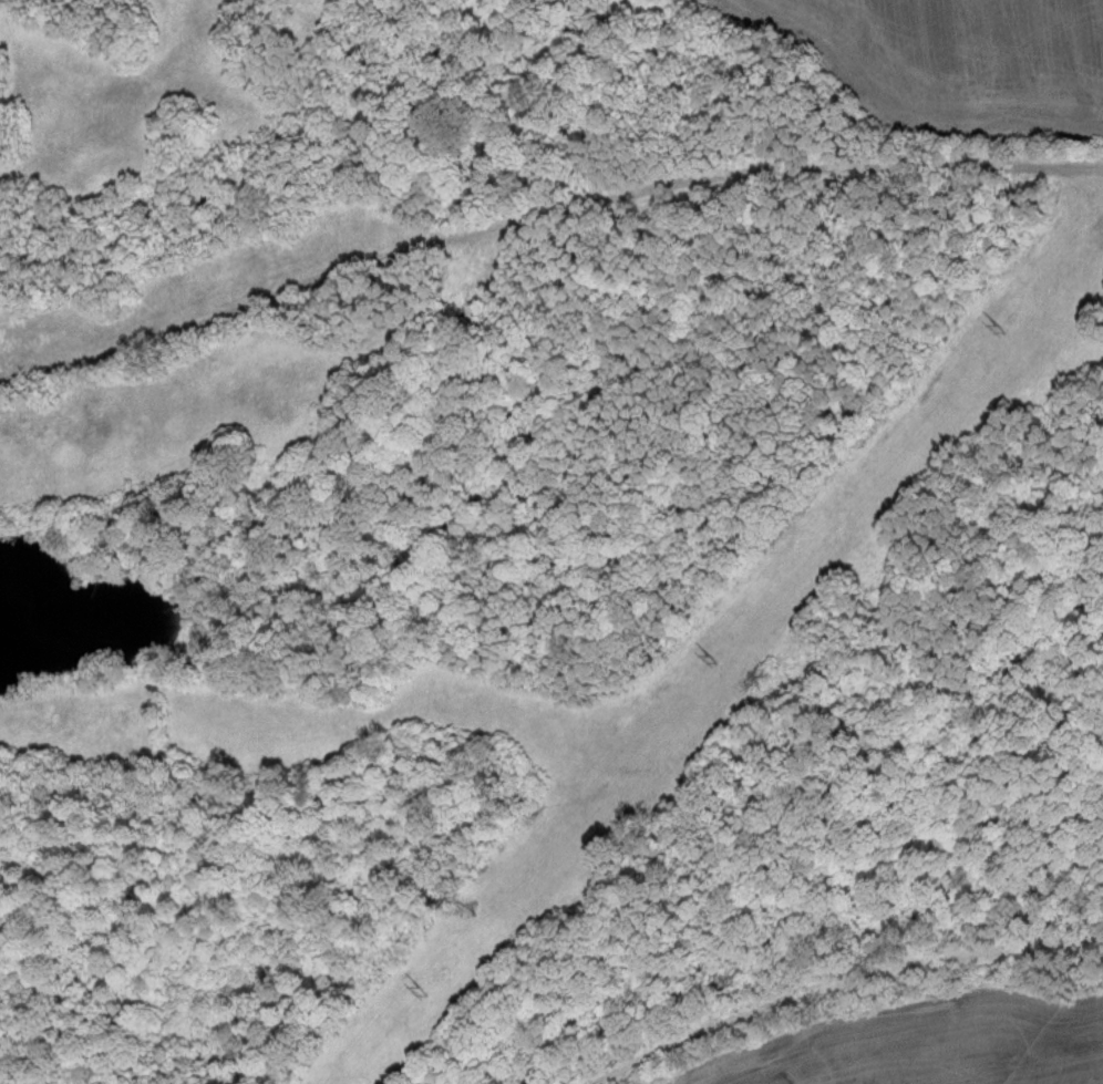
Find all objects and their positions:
road: (539, 209)
power tower: (999, 327)
power tower: (713, 654)
road: (42, 733)
road: (825, 962)
power tower: (427, 985)

